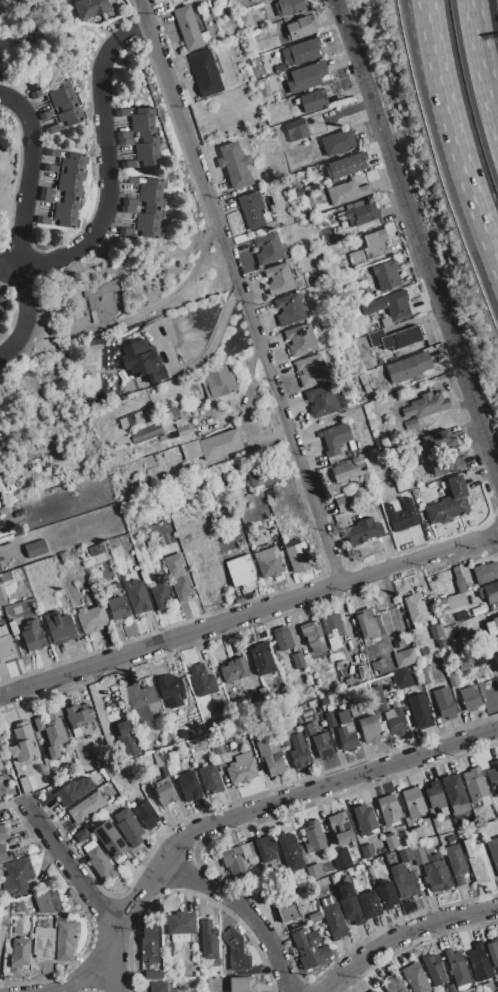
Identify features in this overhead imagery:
building: (251, 0)
building: (289, 6)
building: (90, 8)
road: (417, 11)
road: (421, 11)
road: (496, 16)
building: (300, 27)
building: (189, 29)
building: (300, 52)
road: (484, 58)
building: (204, 72)
building: (305, 76)
building: (59, 89)
building: (37, 93)
building: (313, 100)
building: (64, 102)
building: (121, 111)
building: (45, 113)
building: (143, 114)
building: (70, 115)
building: (51, 126)
building: (144, 129)
building: (295, 130)
building: (122, 135)
building: (125, 141)
building: (337, 142)
building: (147, 144)
road: (453, 151)
building: (52, 154)
building: (148, 158)
building: (73, 160)
building: (127, 163)
building: (345, 164)
building: (234, 165)
building: (50, 169)
building: (71, 175)
building: (129, 179)
road: (27, 183)
building: (295, 183)
building: (151, 185)
building: (69, 190)
building: (47, 191)
building: (296, 192)
building: (346, 192)
building: (46, 198)
building: (150, 200)
building: (128, 203)
building: (67, 205)
road: (107, 209)
building: (127, 209)
building: (251, 210)
building: (362, 213)
building: (148, 215)
building: (65, 219)
building: (43, 220)
building: (147, 229)
building: (125, 231)
building: (340, 233)
road: (417, 237)
building: (369, 247)
building: (267, 248)
building: (394, 252)
building: (386, 274)
road: (185, 278)
building: (278, 278)
road: (241, 291)
building: (102, 300)
building: (2, 302)
building: (388, 306)
building: (288, 309)
building: (386, 321)
building: (70, 331)
building: (396, 338)
building: (299, 339)
building: (142, 361)
building: (380, 367)
building: (408, 367)
building: (311, 369)
building: (371, 373)
building: (362, 379)
building: (218, 381)
building: (444, 394)
building: (321, 401)
building: (426, 405)
building: (172, 411)
building: (164, 417)
building: (130, 420)
building: (410, 424)
building: (182, 429)
building: (145, 433)
building: (161, 437)
building: (335, 438)
building: (438, 440)
building: (211, 445)
building: (446, 463)
building: (347, 470)
building: (265, 475)
building: (9, 486)
building: (343, 503)
building: (448, 503)
building: (254, 509)
building: (401, 516)
building: (269, 523)
building: (362, 531)
building: (273, 532)
building: (159, 541)
building: (150, 543)
building: (35, 549)
building: (300, 557)
road: (419, 557)
building: (269, 562)
building: (239, 571)
building: (485, 572)
building: (4, 577)
building: (150, 580)
building: (458, 580)
building: (116, 584)
building: (181, 587)
building: (491, 592)
building: (135, 594)
building: (160, 594)
building: (1, 598)
building: (449, 602)
building: (116, 608)
building: (415, 608)
building: (477, 610)
building: (91, 618)
building: (367, 623)
building: (495, 623)
building: (59, 627)
building: (13, 628)
building: (332, 629)
building: (3, 631)
building: (435, 632)
building: (311, 633)
building: (32, 636)
building: (282, 638)
road: (171, 639)
building: (451, 647)
building: (5, 649)
building: (318, 649)
building: (424, 651)
building: (404, 656)
building: (477, 657)
building: (261, 659)
building: (297, 660)
building: (495, 662)
building: (234, 670)
building: (423, 675)
building: (401, 679)
building: (452, 679)
building: (202, 680)
building: (170, 690)
building: (263, 694)
building: (378, 698)
building: (470, 698)
building: (139, 702)
building: (444, 703)
building: (355, 708)
building: (419, 710)
building: (77, 716)
building: (343, 716)
building: (329, 718)
building: (395, 718)
building: (322, 723)
building: (384, 726)
building: (123, 728)
building: (308, 729)
building: (369, 729)
building: (51, 732)
building: (182, 734)
building: (346, 739)
building: (23, 742)
building: (323, 745)
building: (215, 748)
building: (298, 750)
building: (178, 753)
building: (270, 754)
building: (0, 766)
building: (241, 769)
building: (493, 777)
building: (210, 778)
building: (24, 784)
building: (475, 784)
building: (190, 788)
building: (73, 790)
building: (162, 790)
building: (455, 793)
building: (435, 796)
road: (286, 800)
building: (413, 802)
building: (85, 806)
building: (388, 809)
building: (145, 814)
building: (364, 819)
building: (128, 827)
building: (339, 827)
building: (2, 833)
building: (415, 834)
building: (80, 835)
building: (312, 838)
building: (450, 838)
building: (110, 841)
building: (391, 842)
building: (88, 846)
building: (265, 848)
building: (247, 850)
building: (366, 851)
building: (289, 852)
building: (493, 852)
building: (418, 853)
building: (2, 854)
building: (405, 854)
building: (233, 861)
building: (339, 861)
building: (100, 863)
building: (455, 863)
road: (70, 864)
building: (478, 866)
building: (314, 871)
building: (436, 873)
building: (16, 877)
building: (403, 880)
building: (386, 895)
building: (46, 901)
building: (326, 901)
building: (349, 904)
building: (368, 905)
building: (287, 907)
road: (244, 909)
building: (3, 914)
building: (333, 920)
building: (179, 923)
building: (16, 927)
road: (403, 933)
building: (178, 937)
building: (64, 940)
building: (208, 940)
building: (41, 942)
building: (148, 942)
building: (308, 948)
building: (235, 950)
building: (493, 952)
building: (18, 955)
road: (109, 957)
building: (480, 962)
building: (433, 969)
building: (457, 969)
building: (151, 974)
road: (79, 979)
building: (415, 979)
building: (242, 984)
building: (393, 984)
building: (157, 987)
building: (450, 987)
building: (487, 987)
building: (469, 990)
building: (371, 991)
building: (376, 991)
building: (497, 991)

